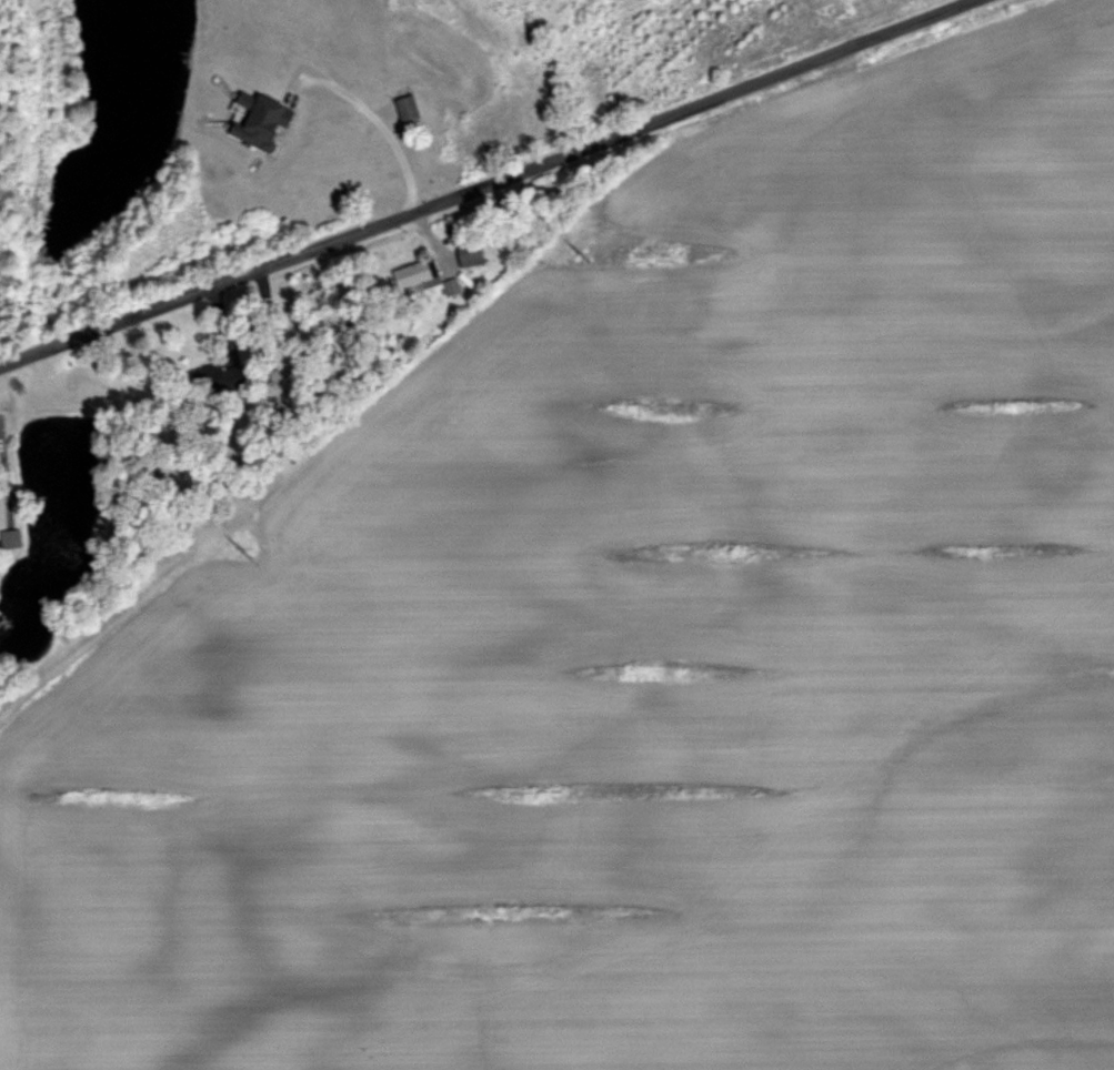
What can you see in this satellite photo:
park: (668, 53)
building: (409, 108)
building: (263, 121)
road: (370, 123)
road: (486, 181)
building: (473, 254)
building: (418, 279)
building: (11, 539)

